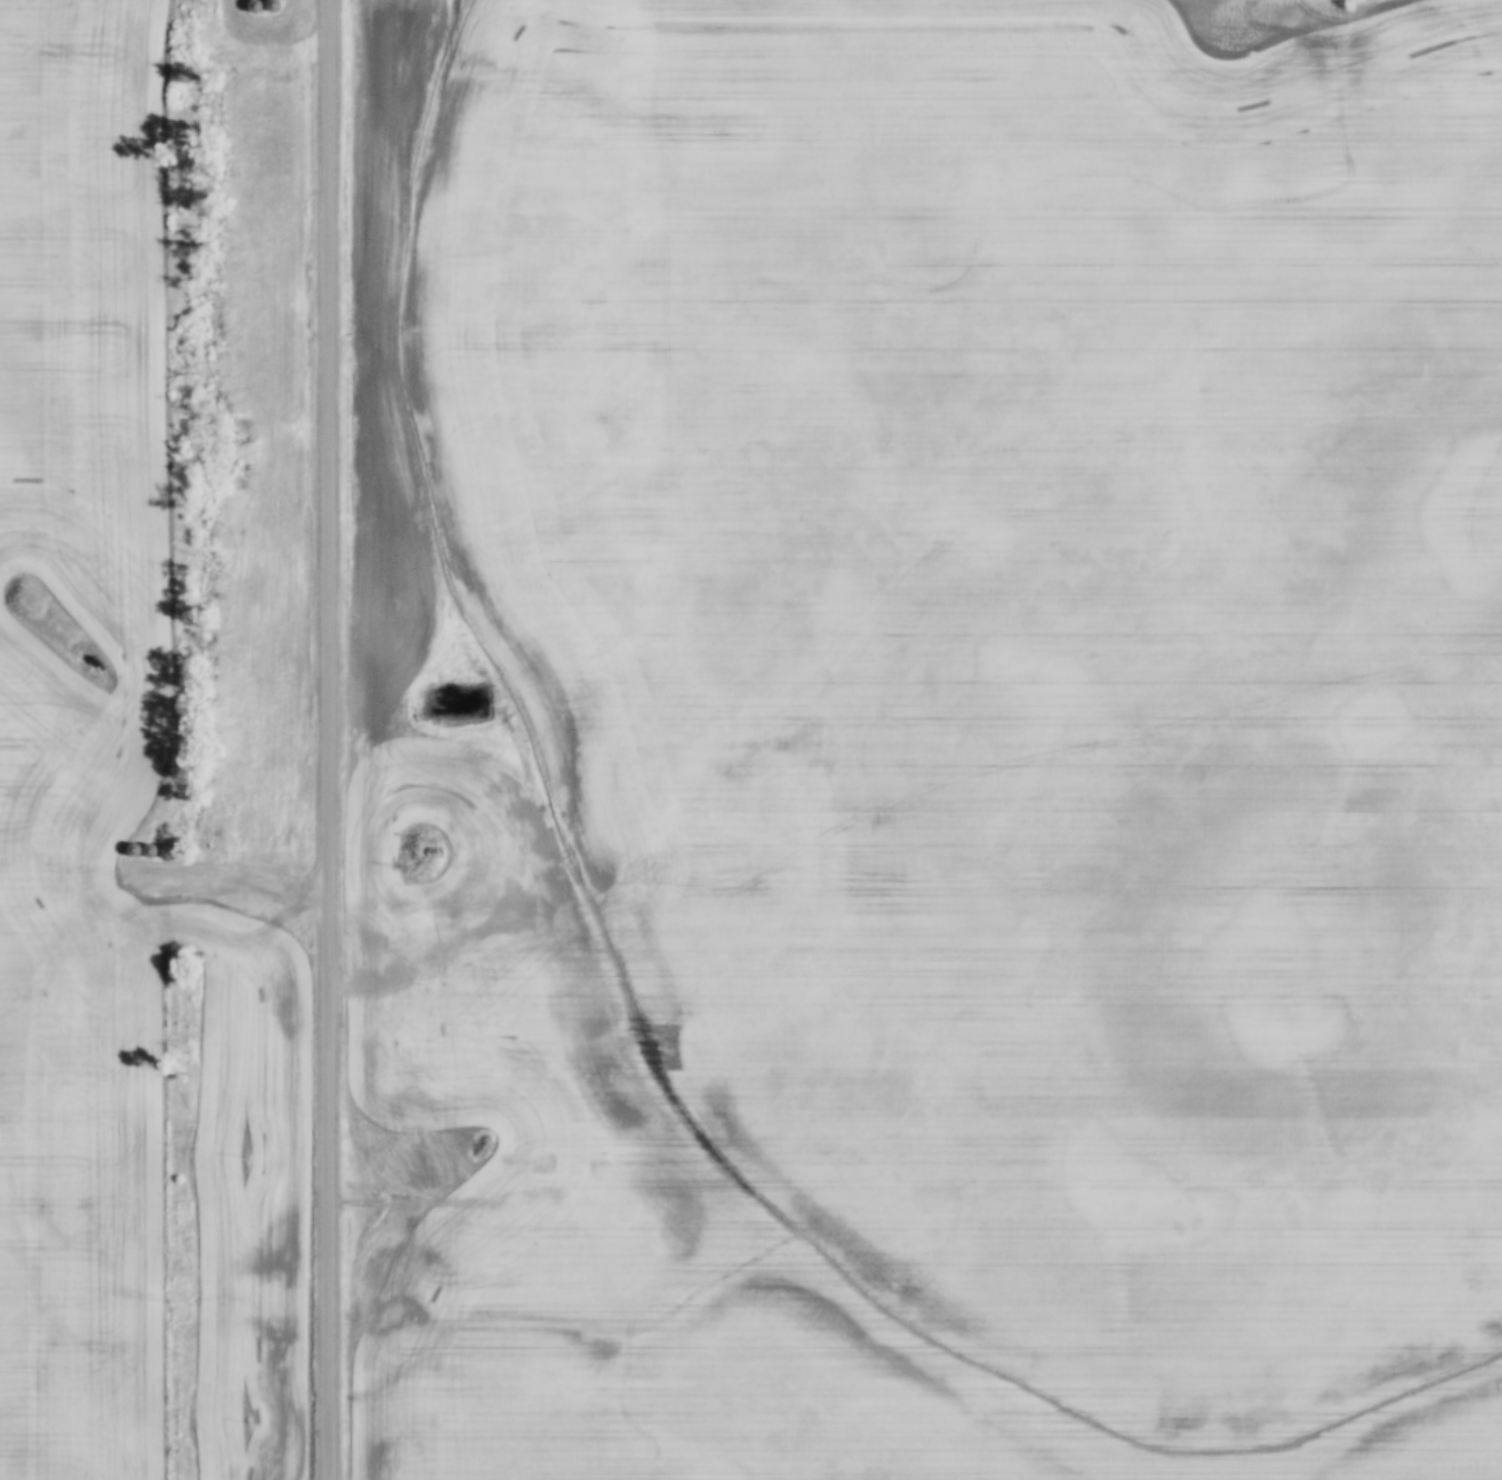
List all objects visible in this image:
road: (328, 740)
road: (260, 884)

